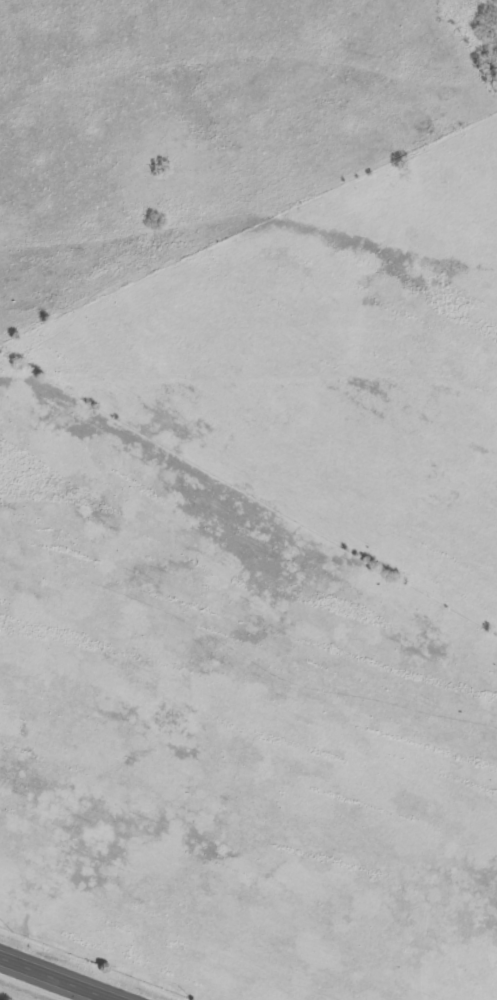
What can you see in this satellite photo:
road: (65, 974)

